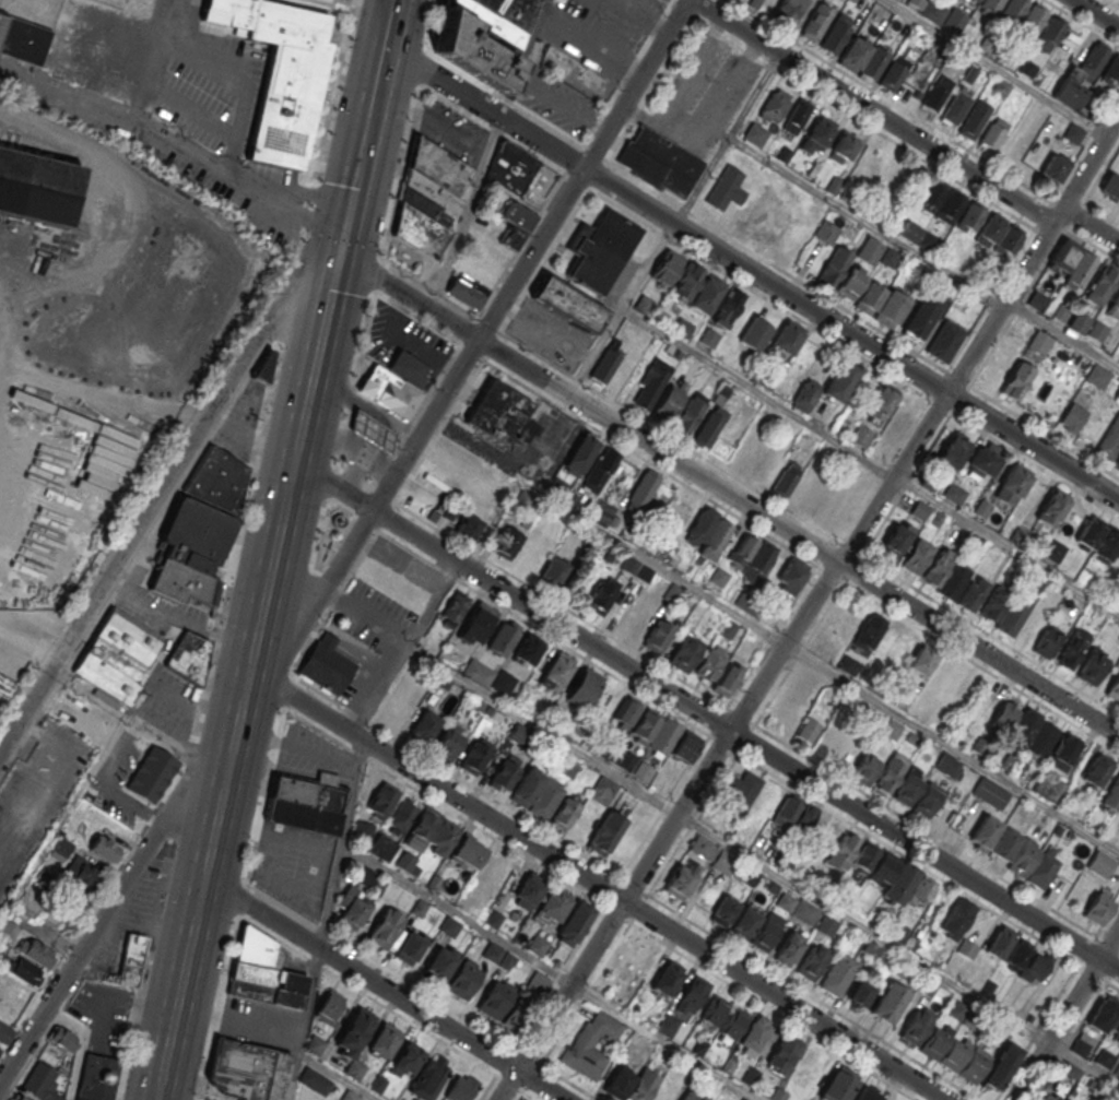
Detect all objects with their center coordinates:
road: (1112, 3)
building: (991, 5)
building: (1012, 10)
building: (787, 11)
building: (939, 13)
road: (1097, 13)
road: (645, 14)
building: (1033, 21)
building: (816, 22)
road: (1082, 22)
road: (389, 23)
building: (837, 33)
building: (1050, 34)
building: (483, 36)
building: (22, 40)
road: (586, 42)
road: (532, 46)
building: (855, 52)
building: (552, 55)
building: (1094, 60)
building: (874, 64)
road: (993, 68)
building: (1111, 71)
building: (279, 72)
building: (894, 73)
road: (239, 74)
road: (635, 84)
building: (937, 93)
parking lot: (702, 95)
road: (509, 98)
building: (775, 105)
road: (562, 106)
road: (483, 107)
building: (955, 107)
building: (797, 116)
road: (127, 119)
building: (974, 119)
road: (214, 125)
road: (903, 130)
parking lot: (452, 131)
building: (992, 132)
building: (755, 133)
building: (1073, 133)
road: (942, 134)
building: (818, 135)
building: (1015, 145)
building: (844, 147)
building: (658, 161)
building: (510, 167)
building: (1053, 168)
building: (1110, 186)
building: (36, 187)
building: (726, 188)
building: (930, 193)
building: (429, 197)
road: (990, 201)
building: (950, 206)
road: (127, 208)
building: (764, 213)
road: (468, 215)
building: (971, 215)
road: (864, 223)
building: (515, 224)
building: (910, 230)
building: (826, 232)
traffic signals: (344, 234)
building: (1000, 235)
building: (600, 249)
building: (870, 250)
traffic signals: (340, 255)
building: (1063, 256)
building: (834, 267)
building: (665, 268)
building: (1081, 269)
building: (851, 281)
road: (1034, 281)
building: (471, 282)
building: (686, 282)
building: (1103, 285)
building: (707, 295)
road: (409, 296)
traffic signals: (330, 298)
building: (1038, 300)
building: (568, 304)
building: (881, 304)
building: (1114, 304)
building: (727, 308)
building: (921, 316)
building: (1087, 326)
building: (682, 327)
road: (1063, 332)
building: (755, 333)
road: (851, 333)
building: (708, 336)
building: (788, 338)
road: (479, 339)
building: (945, 340)
building: (1039, 342)
road: (593, 351)
building: (605, 364)
road: (716, 365)
building: (262, 366)
building: (1098, 376)
building: (1016, 379)
building: (394, 382)
building: (650, 385)
building: (827, 387)
building: (1117, 394)
road: (103, 395)
road: (349, 398)
building: (668, 403)
building: (881, 404)
building: (690, 413)
building: (502, 415)
building: (1073, 417)
building: (711, 422)
building: (372, 431)
road: (374, 433)
road: (1045, 433)
building: (861, 436)
building: (1109, 440)
road: (351, 445)
road: (368, 449)
building: (954, 449)
building: (580, 453)
building: (458, 454)
building: (985, 460)
building: (1117, 462)
building: (767, 468)
building: (600, 470)
road: (354, 472)
building: (786, 478)
building: (554, 485)
building: (1012, 485)
road: (332, 486)
building: (641, 492)
building: (954, 493)
building: (1052, 507)
road: (151, 508)
building: (981, 508)
building: (920, 509)
building: (1, 517)
building: (199, 527)
building: (468, 528)
building: (708, 534)
road: (798, 537)
building: (897, 537)
building: (1098, 537)
building: (17, 542)
building: (508, 543)
building: (1055, 552)
building: (916, 556)
building: (752, 557)
building: (636, 568)
building: (554, 571)
road: (270, 572)
building: (945, 573)
building: (790, 577)
building: (971, 592)
building: (600, 598)
building: (993, 603)
road: (808, 606)
road: (309, 612)
building: (1011, 617)
road: (177, 619)
road: (377, 622)
building: (476, 623)
road: (311, 630)
building: (1028, 630)
building: (869, 632)
building: (658, 635)
building: (503, 638)
road: (775, 639)
road: (328, 640)
road: (30, 641)
building: (1047, 641)
building: (1071, 648)
building: (528, 649)
building: (685, 652)
building: (897, 653)
building: (118, 654)
building: (188, 657)
road: (356, 657)
building: (922, 660)
building: (326, 663)
building: (1092, 666)
building: (556, 671)
building: (479, 672)
building: (718, 672)
building: (1114, 687)
building: (584, 688)
road: (379, 690)
road: (360, 698)
road: (499, 705)
building: (605, 705)
road: (766, 705)
building: (625, 714)
building: (1013, 721)
building: (424, 726)
building: (891, 729)
building: (809, 730)
building: (665, 737)
building: (1045, 740)
road: (164, 741)
building: (449, 741)
road: (745, 741)
building: (831, 741)
road: (296, 747)
building: (1064, 752)
building: (475, 757)
building: (864, 768)
building: (1098, 769)
building: (892, 770)
road: (214, 772)
building: (503, 774)
building: (149, 777)
road: (83, 780)
building: (526, 788)
building: (1049, 788)
building: (907, 789)
building: (603, 790)
building: (741, 792)
building: (990, 792)
building: (1111, 795)
building: (545, 800)
building: (381, 801)
building: (927, 801)
building: (305, 804)
building: (765, 804)
building: (564, 814)
building: (805, 818)
building: (422, 828)
building: (363, 831)
building: (985, 831)
building: (605, 832)
building: (1005, 843)
building: (382, 847)
building: (103, 849)
building: (60, 850)
building: (844, 850)
building: (469, 853)
building: (711, 854)
building: (1025, 855)
building: (1102, 863)
parking lot: (294, 865)
building: (1044, 868)
building: (82, 872)
building: (886, 872)
building: (747, 875)
building: (680, 882)
road: (596, 885)
road: (410, 886)
building: (922, 890)
road: (117, 895)
building: (527, 895)
road: (330, 897)
building: (798, 908)
building: (1098, 908)
building: (551, 909)
building: (351, 910)
building: (723, 911)
building: (957, 918)
building: (574, 922)
building: (743, 924)
building: (826, 925)
building: (384, 927)
road: (863, 929)
building: (9, 930)
road: (43, 931)
building: (765, 935)
building: (1001, 942)
building: (411, 944)
road: (728, 944)
road: (287, 945)
building: (537, 945)
building: (788, 947)
building: (36, 951)
building: (497, 955)
building: (129, 959)
building: (1027, 959)
building: (440, 962)
building: (811, 962)
building: (24, 971)
building: (262, 971)
building: (837, 974)
building: (464, 979)
building: (664, 980)
building: (538, 982)
road: (382, 989)
building: (860, 993)
building: (692, 994)
building: (495, 997)
building: (888, 1002)
building: (329, 1007)
building: (8, 1009)
building: (714, 1010)
road: (774, 1010)
building: (81, 1012)
building: (1103, 1013)
building: (519, 1014)
road: (1067, 1015)
road: (239, 1018)
parking lot: (258, 1022)
building: (734, 1022)
building: (917, 1025)
building: (1115, 1026)
building: (4, 1032)
building: (353, 1032)
building: (755, 1034)
building: (62, 1039)
building: (384, 1040)
road: (665, 1041)
building: (591, 1043)
building: (933, 1043)
road: (299, 1044)
road: (79, 1045)
building: (1081, 1046)
building: (0, 1050)
building: (784, 1051)
building: (952, 1054)
building: (1105, 1058)
building: (407, 1060)
road: (1084, 1065)
building: (971, 1066)
building: (1002, 1066)
building: (354, 1067)
building: (808, 1068)
building: (247, 1069)
road: (555, 1073)
road: (496, 1074)
building: (429, 1077)
building: (96, 1078)
building: (315, 1080)
building: (39, 1083)
building: (641, 1086)
building: (838, 1086)
building: (460, 1088)
building: (867, 1095)
building: (349, 1096)
road: (520, 1096)
building: (691, 1096)
building: (1048, 1096)
building: (21, 1098)
road: (160, 1098)
building: (414, 1099)

